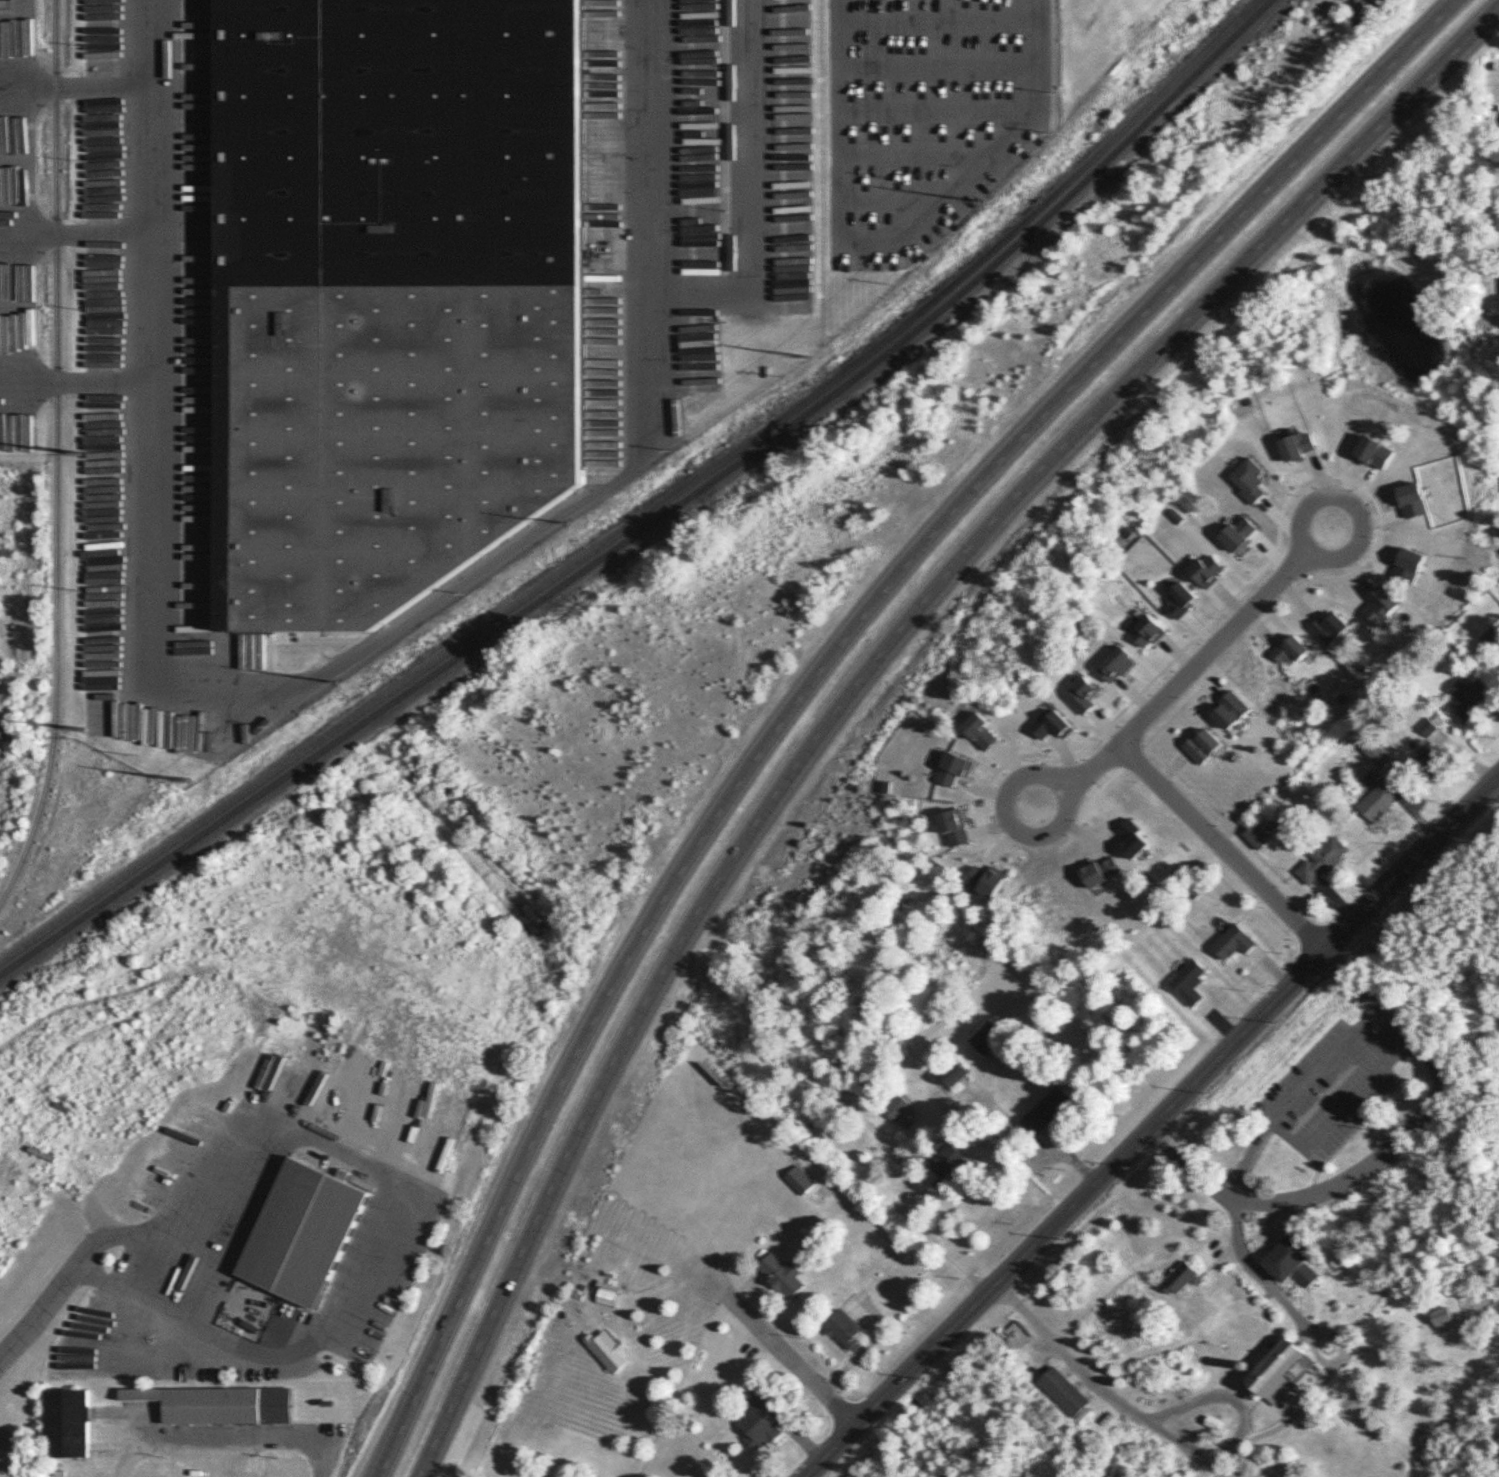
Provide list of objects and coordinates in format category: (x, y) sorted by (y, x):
road: (941, 18)
road: (942, 64)
road: (81, 80)
road: (942, 109)
road: (650, 135)
road: (922, 154)
road: (753, 186)
road: (900, 196)
building: (1498, 217)
road: (81, 230)
road: (902, 246)
building: (391, 284)
road: (82, 381)
building: (1298, 444)
railway: (56, 457)
road: (1316, 479)
building: (1251, 480)
railway: (652, 510)
railway: (660, 517)
building: (1240, 534)
building: (1208, 569)
road: (1300, 588)
building: (1182, 598)
building: (1382, 604)
building: (1331, 627)
building: (1148, 630)
building: (1491, 636)
building: (1293, 650)
building: (1119, 664)
road: (824, 671)
road: (865, 674)
road: (186, 690)
building: (1083, 695)
building: (1469, 699)
road: (1130, 701)
building: (1233, 709)
building: (1052, 723)
building: (1428, 726)
road: (1157, 731)
building: (982, 732)
road: (1124, 732)
building: (1203, 746)
building: (1378, 754)
building: (1430, 762)
building: (954, 768)
road: (1079, 770)
building: (1377, 796)
building: (956, 827)
building: (1256, 835)
building: (1321, 859)
building: (988, 880)
building: (1234, 943)
building: (1189, 981)
road: (1360, 1026)
road: (1384, 1031)
building: (986, 1038)
building: (956, 1073)
parking lot: (1325, 1093)
building: (897, 1107)
building: (1047, 1110)
road: (1150, 1127)
parking lot: (1402, 1140)
road: (1378, 1154)
building: (946, 1162)
building: (799, 1180)
road: (389, 1201)
road: (1412, 1230)
building: (301, 1233)
road: (936, 1243)
park: (1275, 1245)
building: (1293, 1260)
building: (782, 1275)
road: (217, 1276)
building: (1179, 1278)
road: (40, 1311)
road: (1293, 1312)
building: (1443, 1316)
building: (846, 1331)
building: (608, 1350)
road: (783, 1351)
road: (1068, 1356)
road: (1422, 1368)
building: (1281, 1370)
building: (1065, 1391)
building: (220, 1404)
building: (1086, 1416)
building: (761, 1419)
road: (1244, 1420)
building: (68, 1423)
road: (1278, 1427)
road: (232, 1440)
road: (199, 1458)

